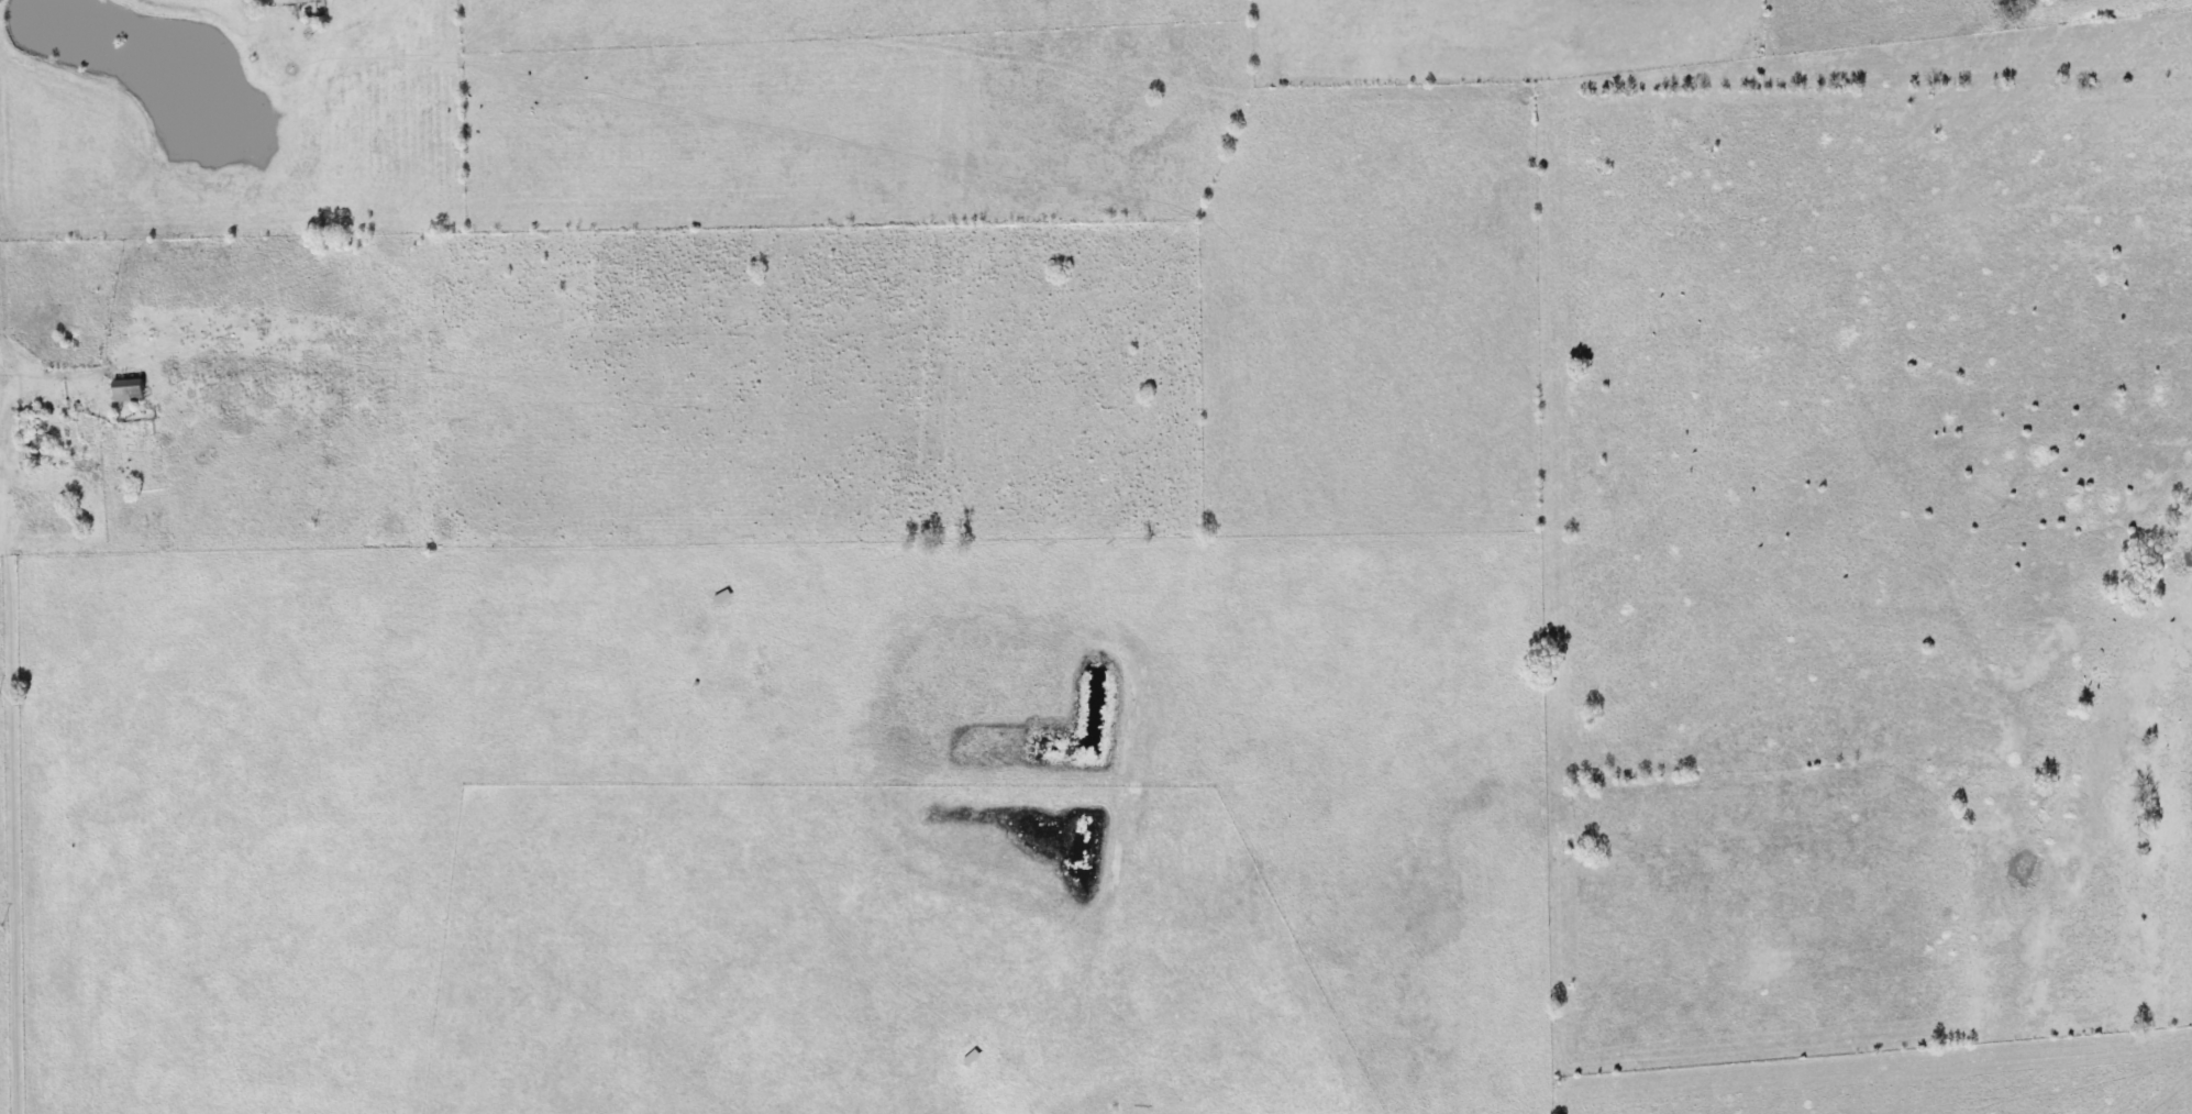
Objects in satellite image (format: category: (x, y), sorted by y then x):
building: (130, 391)
road: (9, 697)

